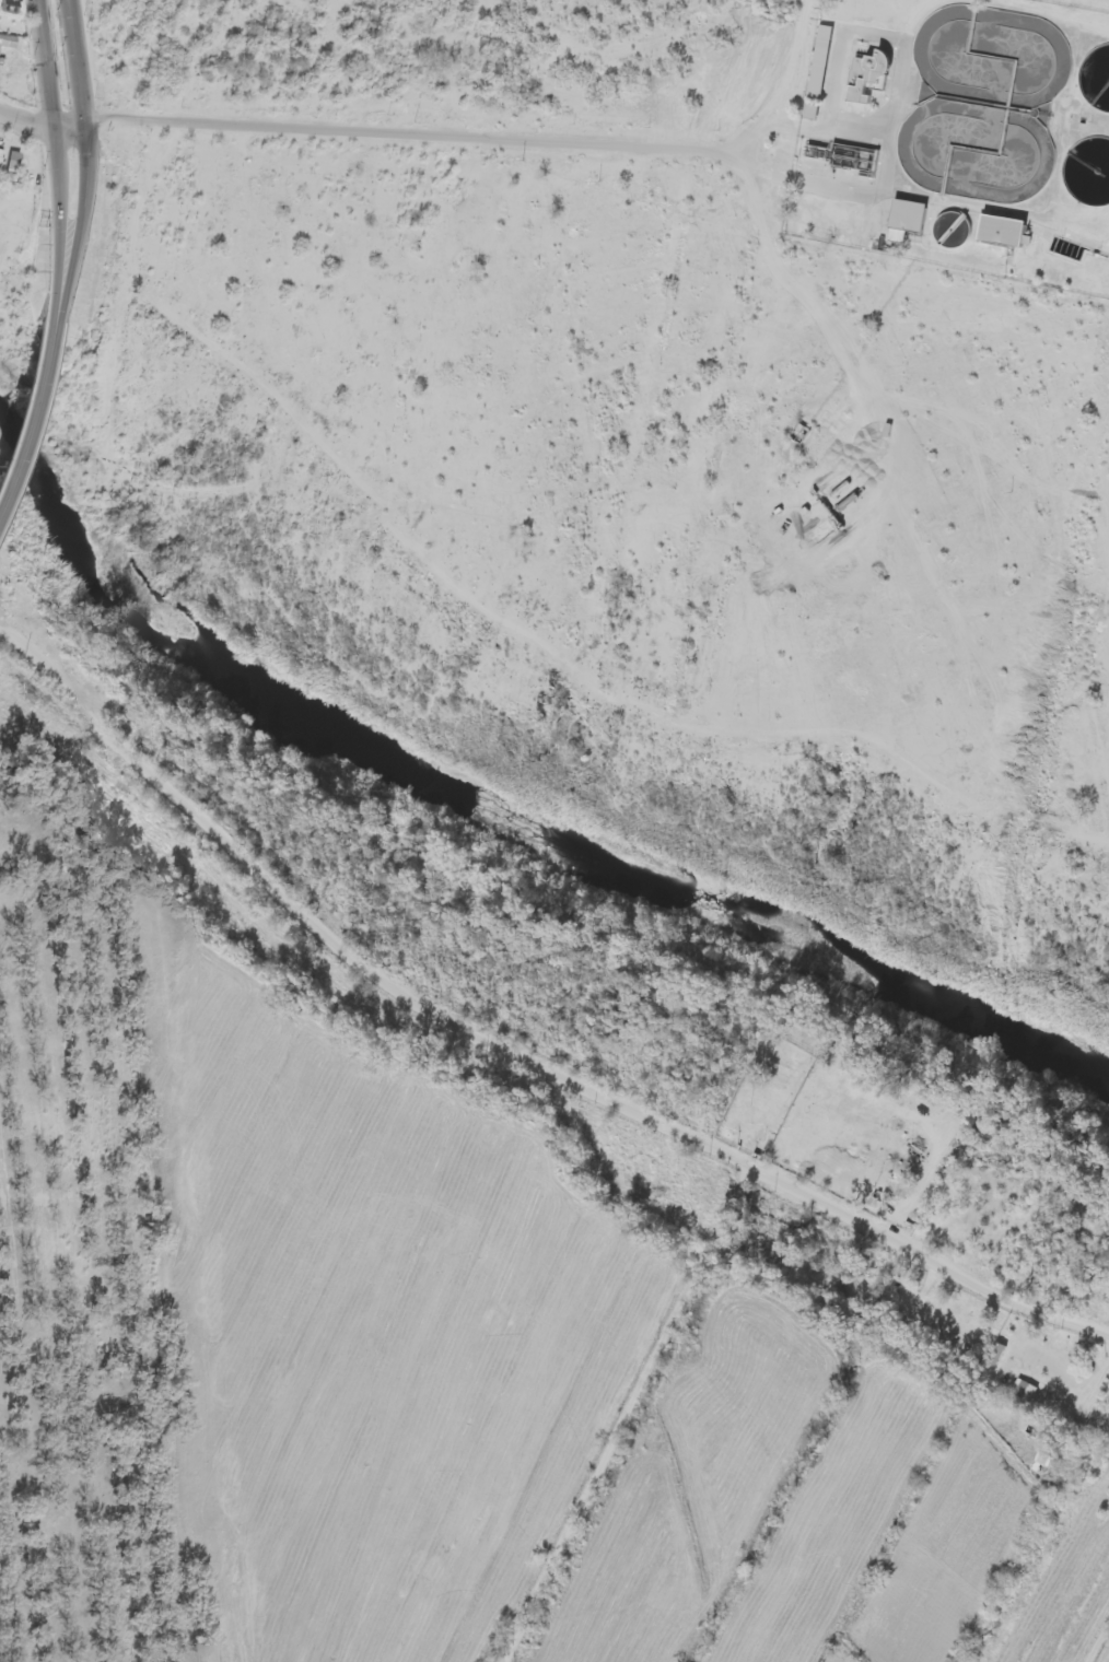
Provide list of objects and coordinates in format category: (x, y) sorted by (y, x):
road: (786, 80)
road: (406, 134)
river: (495, 807)
road: (512, 1046)
road: (630, 1413)

